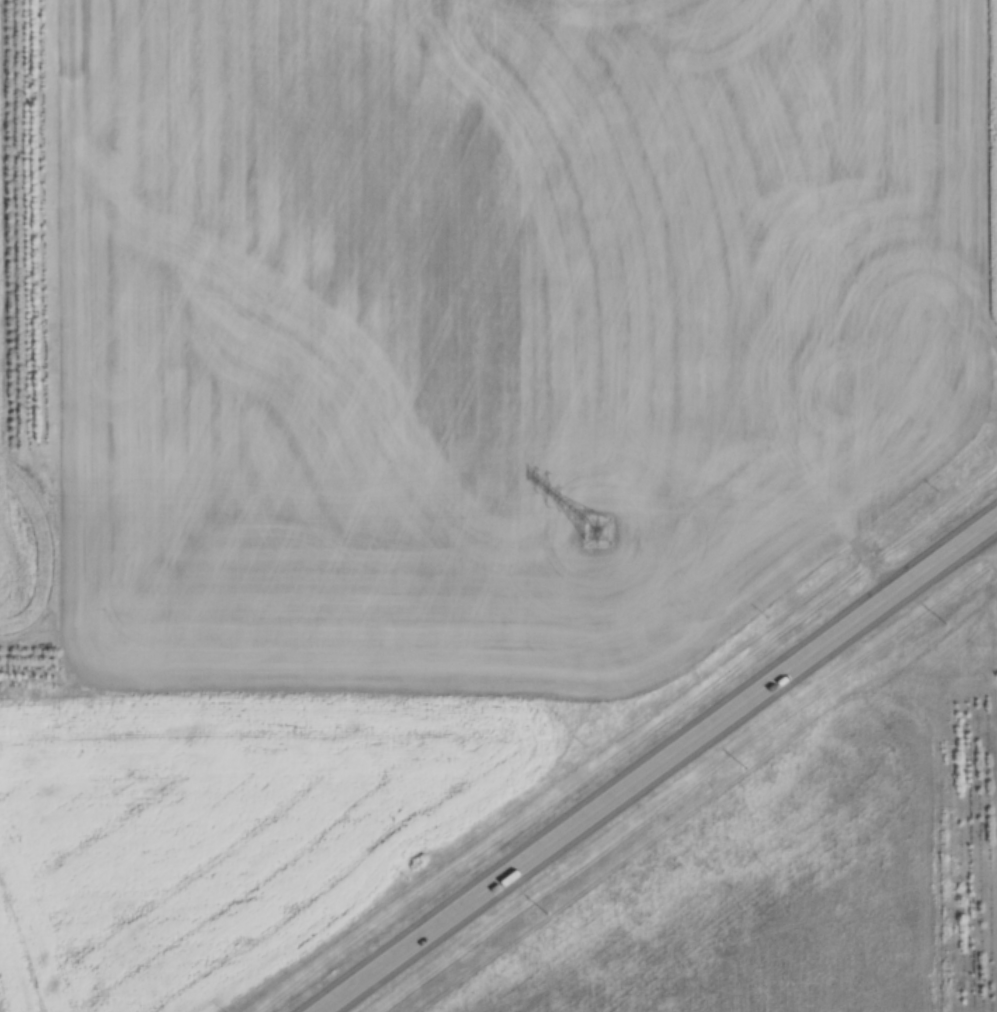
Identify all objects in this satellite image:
power tower: (593, 531)
road: (659, 766)

